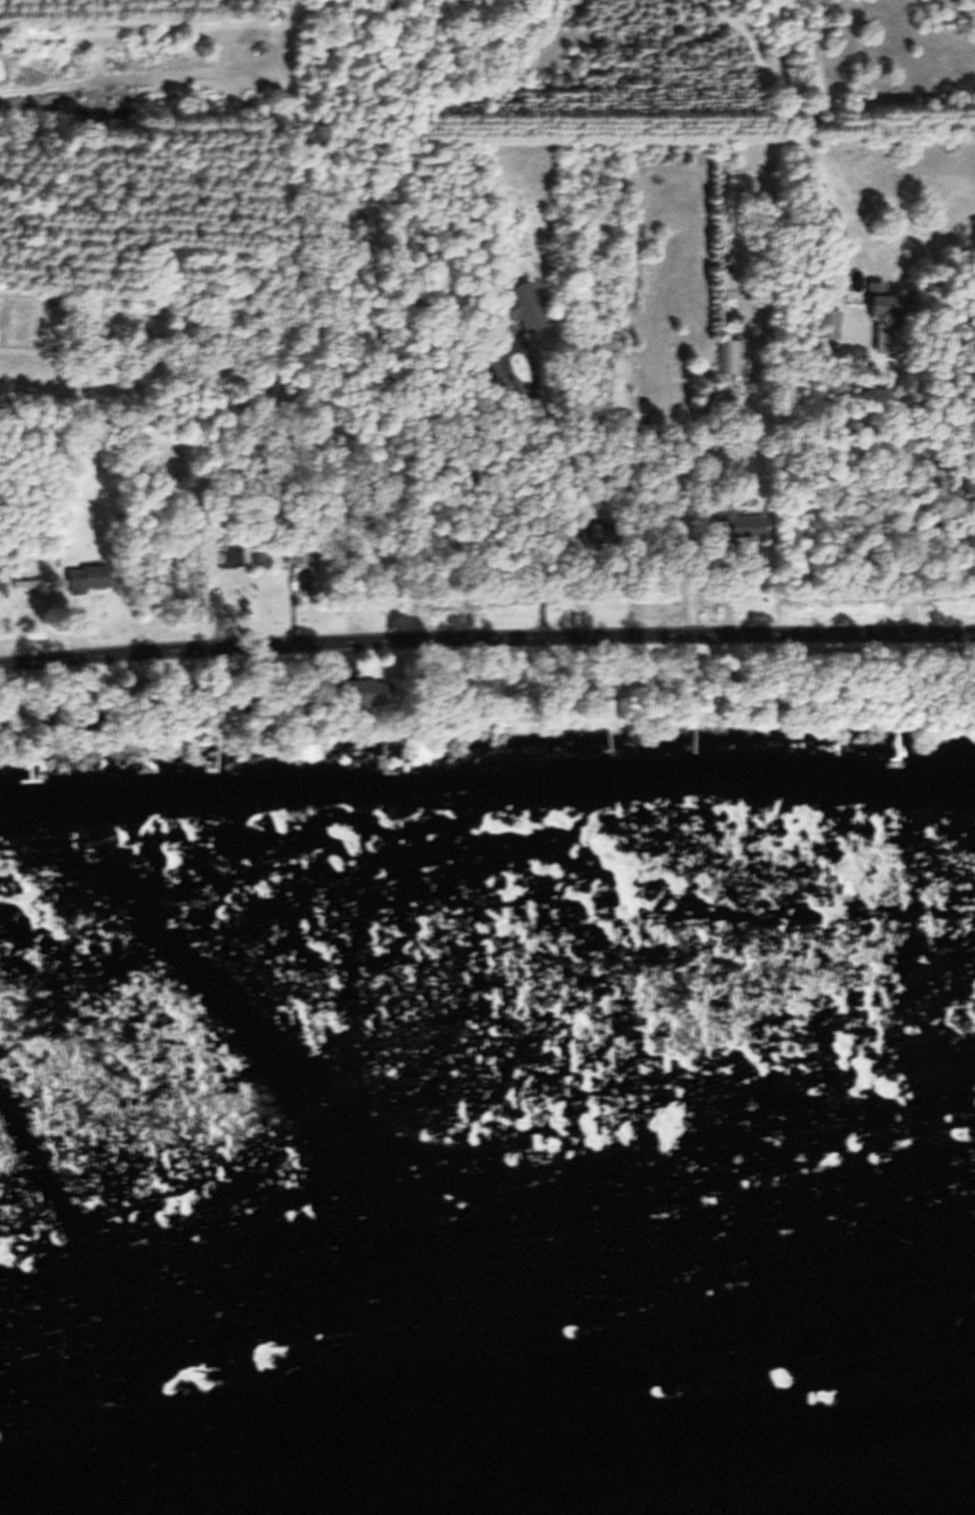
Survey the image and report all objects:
building: (889, 317)
building: (527, 318)
building: (830, 333)
building: (733, 366)
road: (539, 448)
building: (92, 588)
building: (316, 588)
building: (30, 596)
road: (486, 631)
building: (394, 768)
river: (868, 1500)

